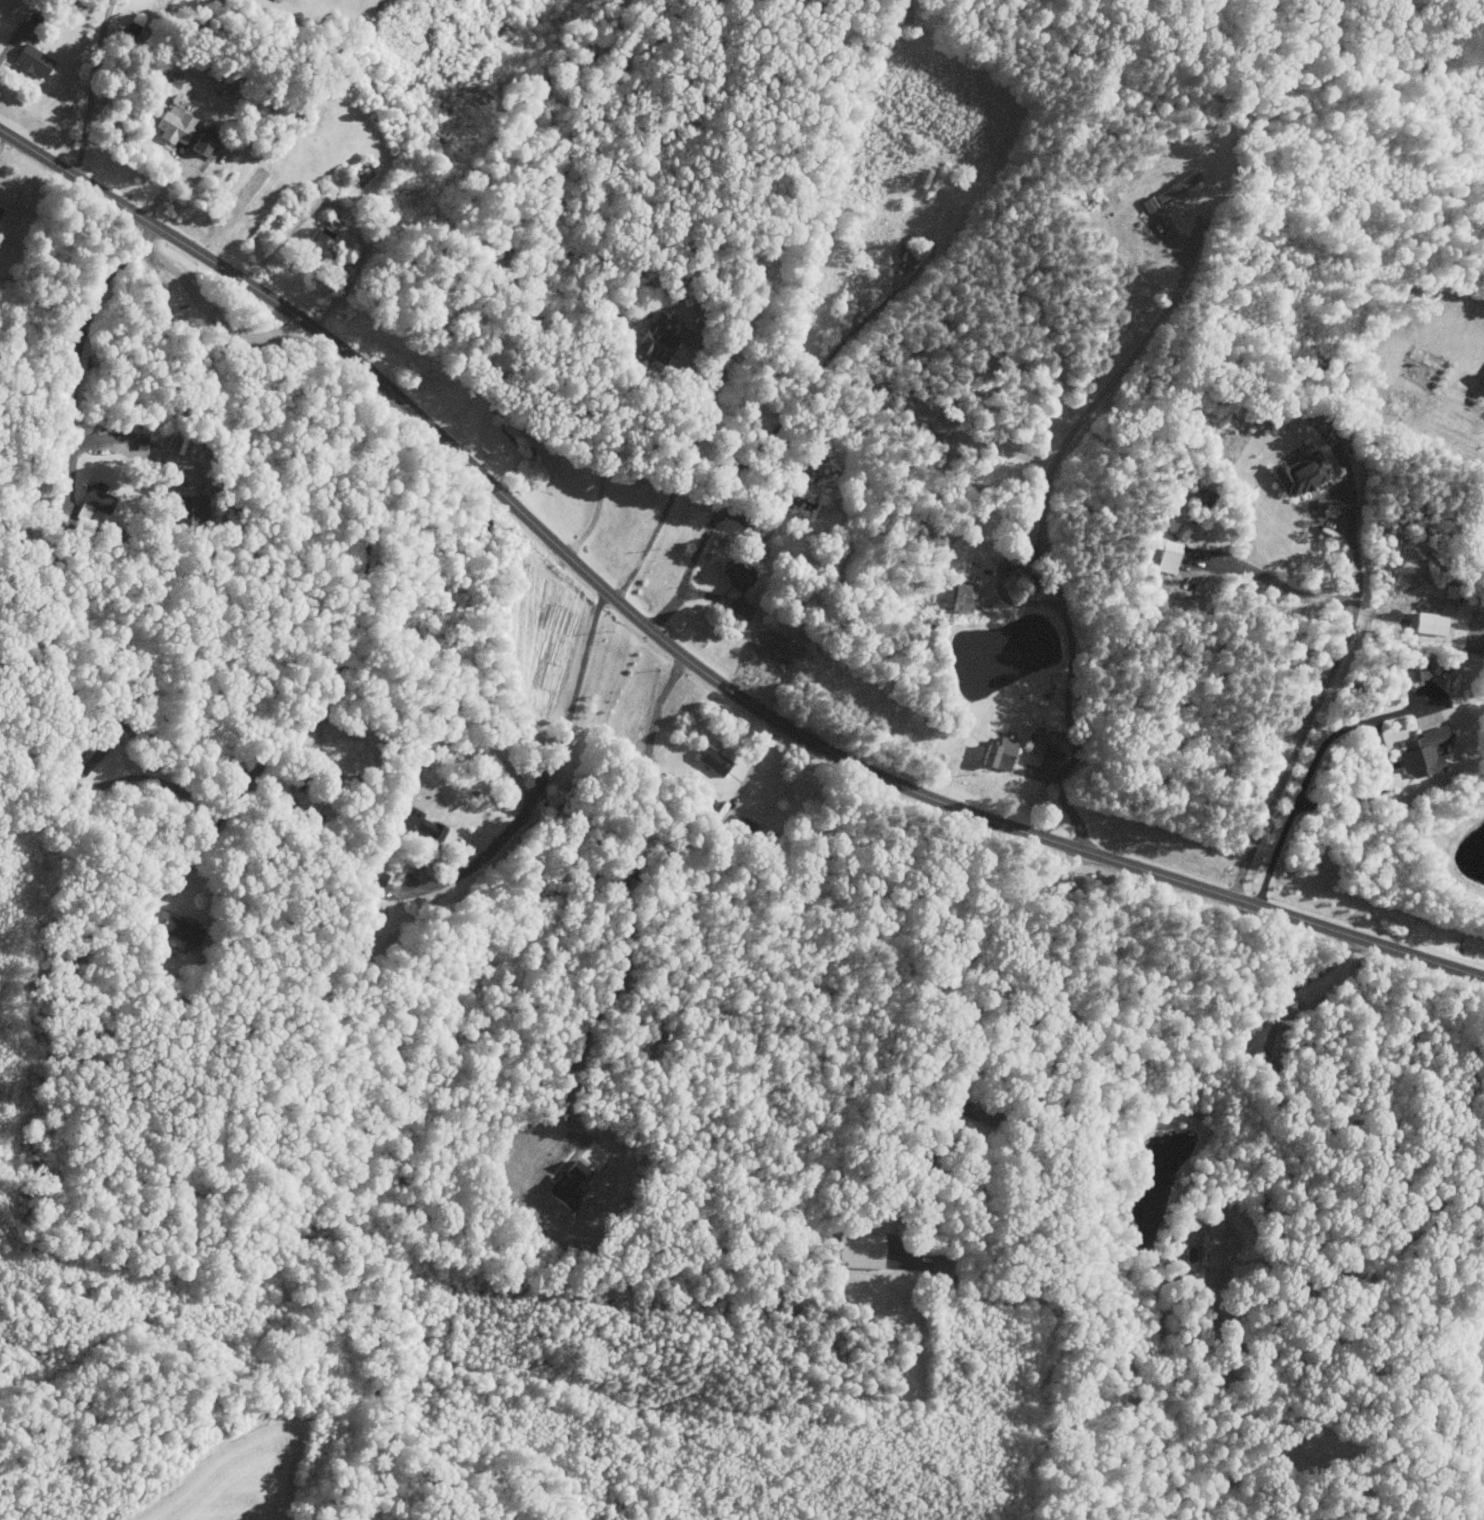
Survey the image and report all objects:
building: (282, 0)
road: (13, 38)
building: (38, 62)
road: (92, 88)
building: (177, 126)
building: (208, 144)
building: (1173, 187)
building: (2, 212)
building: (336, 226)
road: (287, 236)
building: (323, 242)
road: (209, 308)
building: (652, 343)
road: (75, 367)
building: (1479, 380)
road: (610, 442)
building: (138, 443)
road: (687, 450)
building: (1297, 473)
building: (1200, 495)
building: (95, 497)
road: (1044, 510)
building: (1172, 526)
building: (1164, 557)
road: (691, 565)
building: (733, 575)
road: (1273, 582)
road: (1002, 587)
building: (960, 596)
building: (1428, 623)
road: (1340, 654)
road: (684, 656)
building: (1412, 672)
road: (325, 700)
road: (1341, 730)
building: (1044, 744)
building: (1420, 752)
building: (994, 754)
building: (710, 761)
road: (546, 769)
road: (163, 784)
building: (417, 821)
building: (378, 879)
building: (177, 929)
road: (1004, 1060)
road: (1260, 1098)
building: (1214, 1246)
building: (857, 1250)

